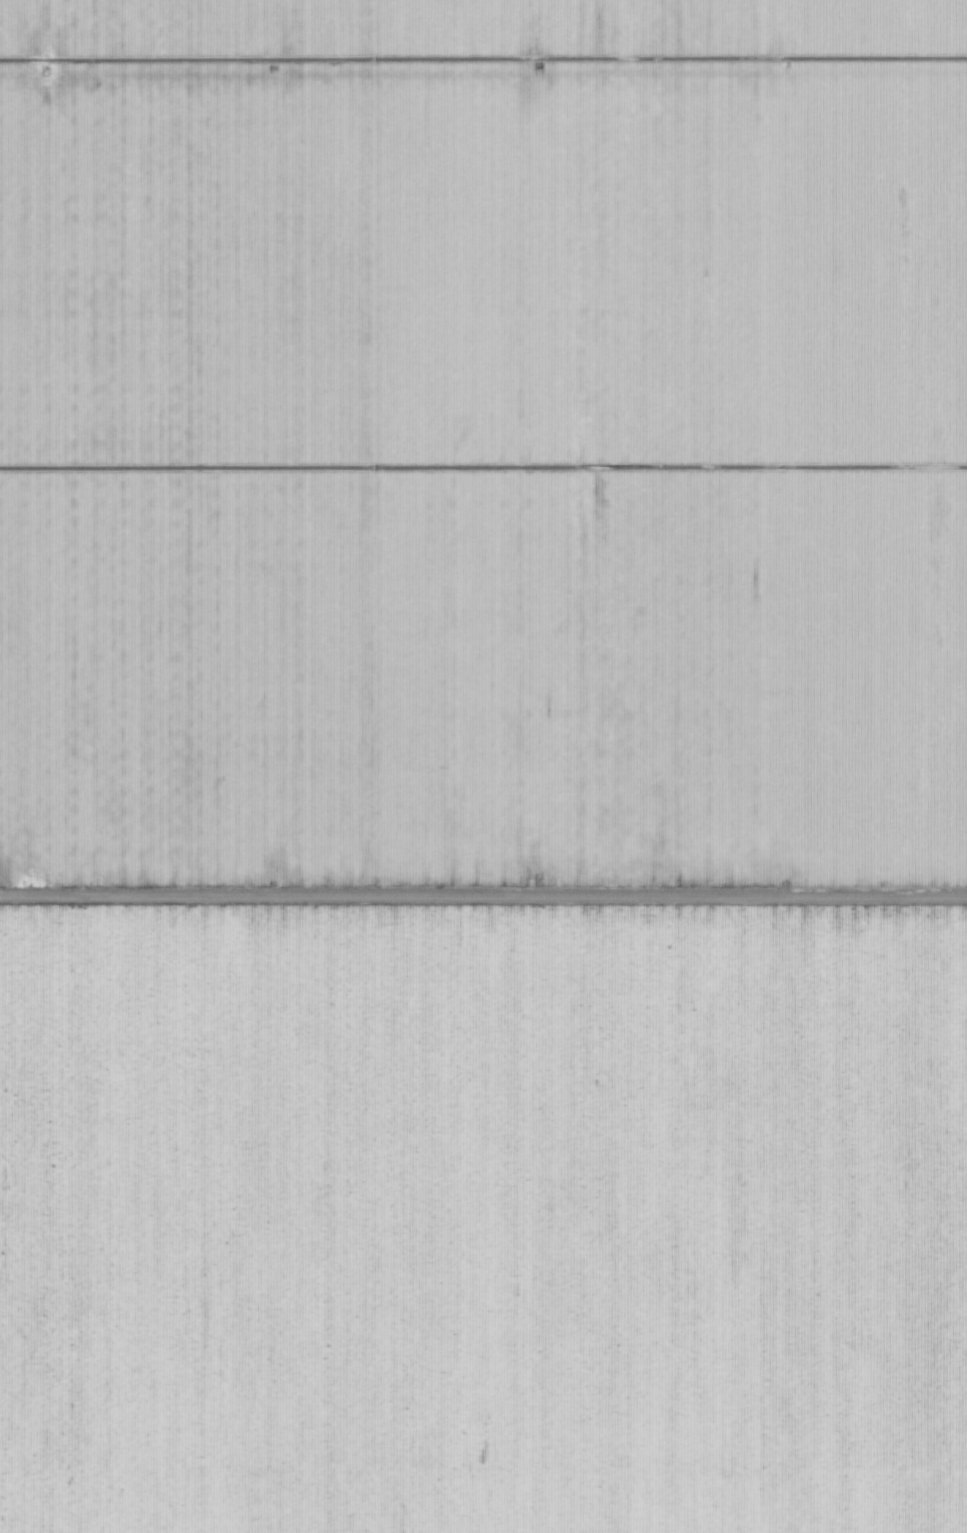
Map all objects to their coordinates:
crop: (483, 766)

